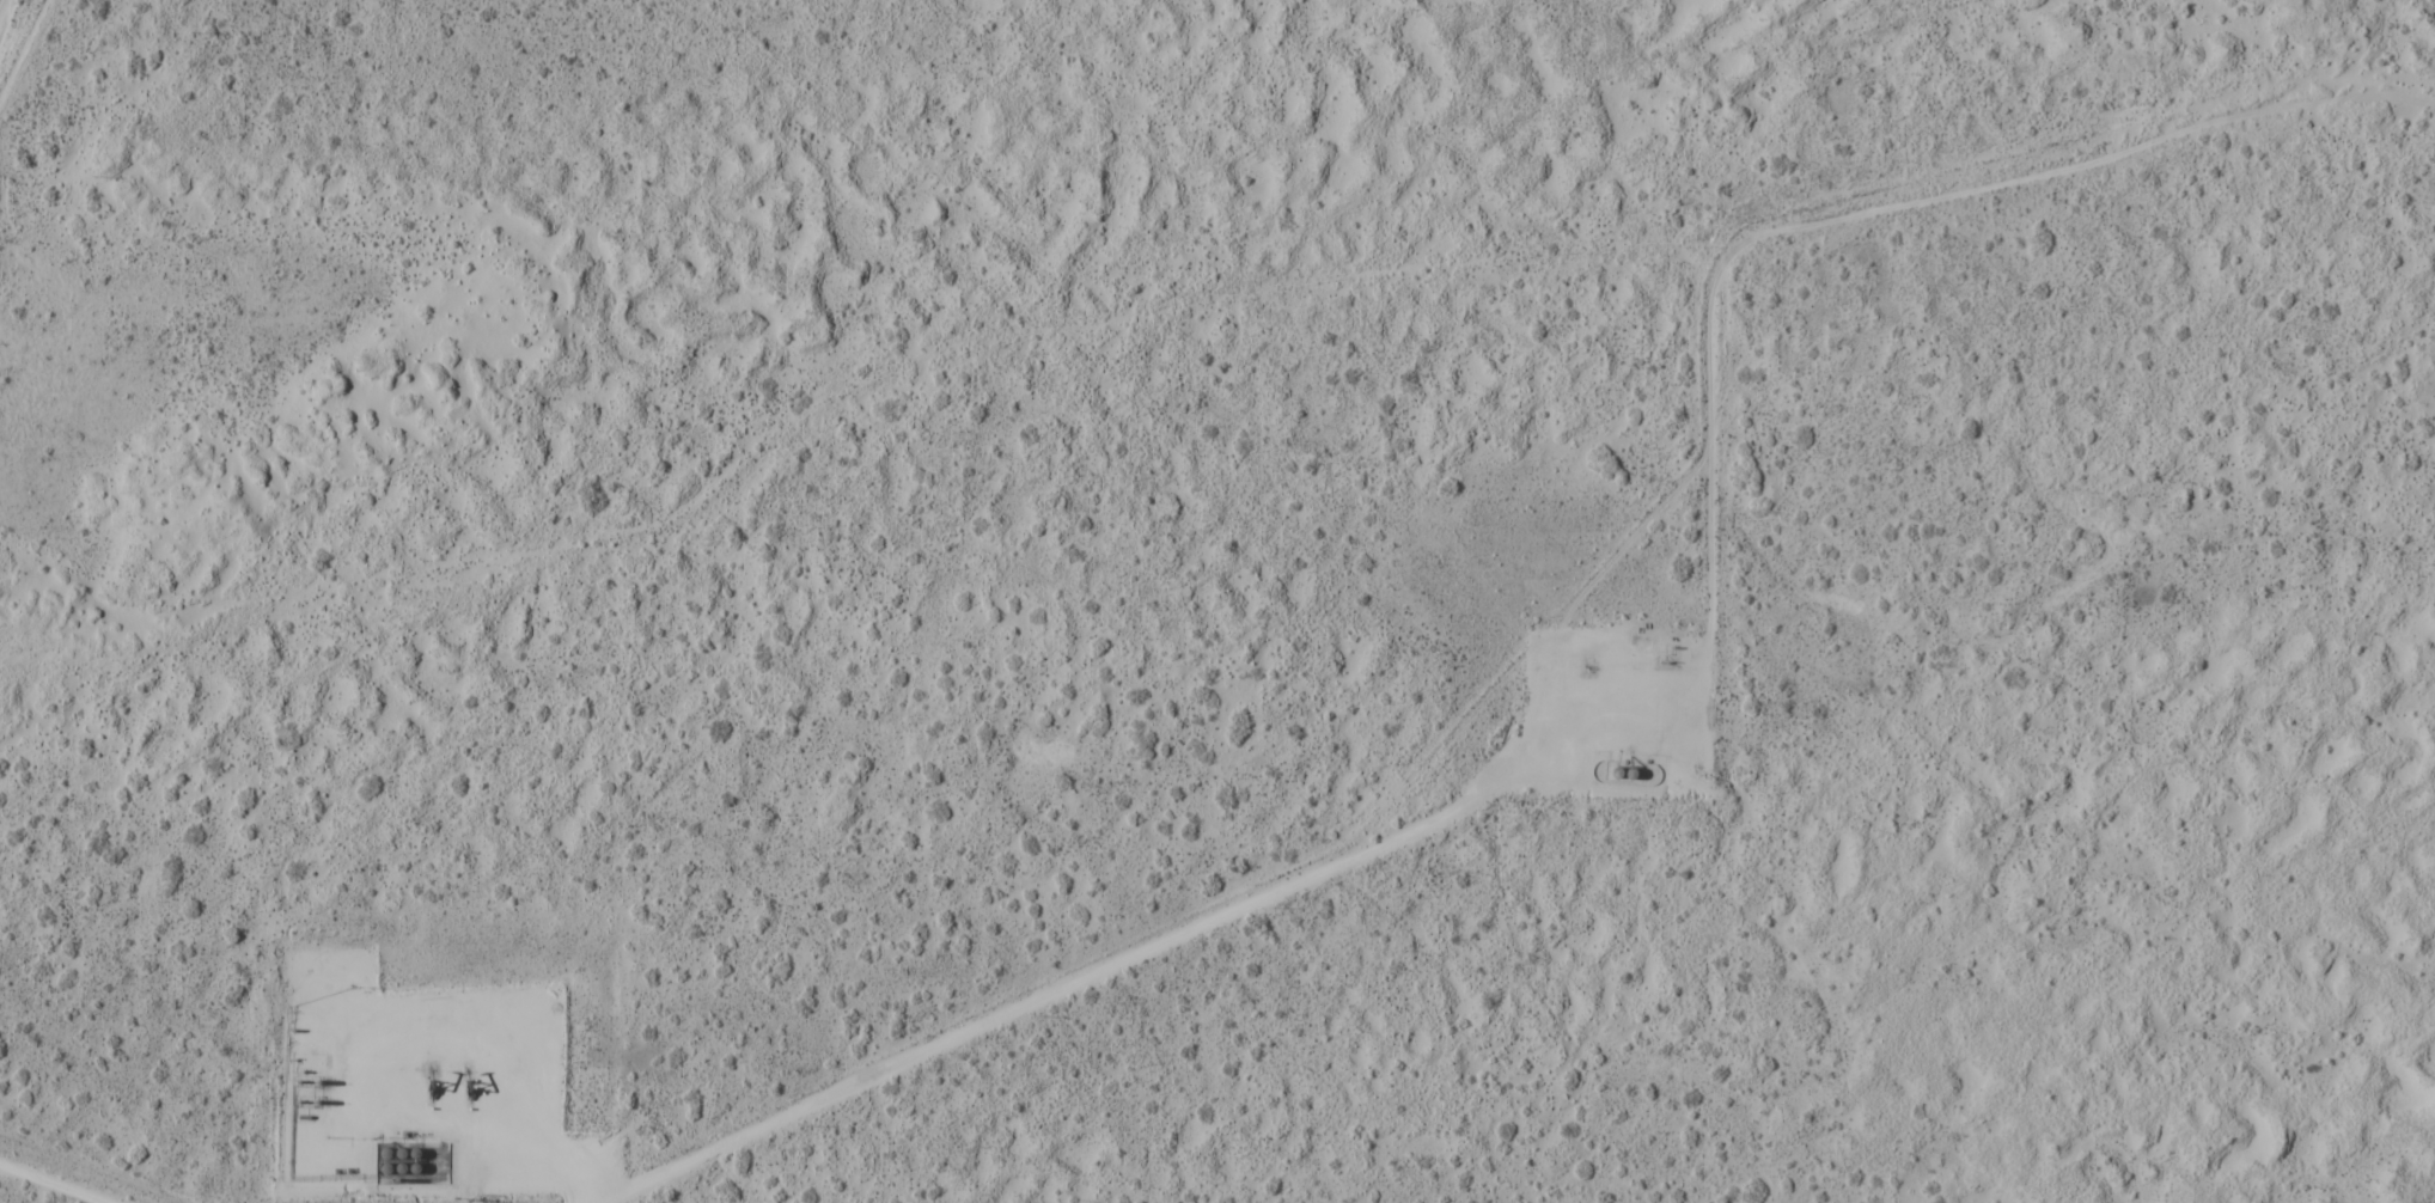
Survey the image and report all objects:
road: (1157, 933)
road: (49, 1184)

